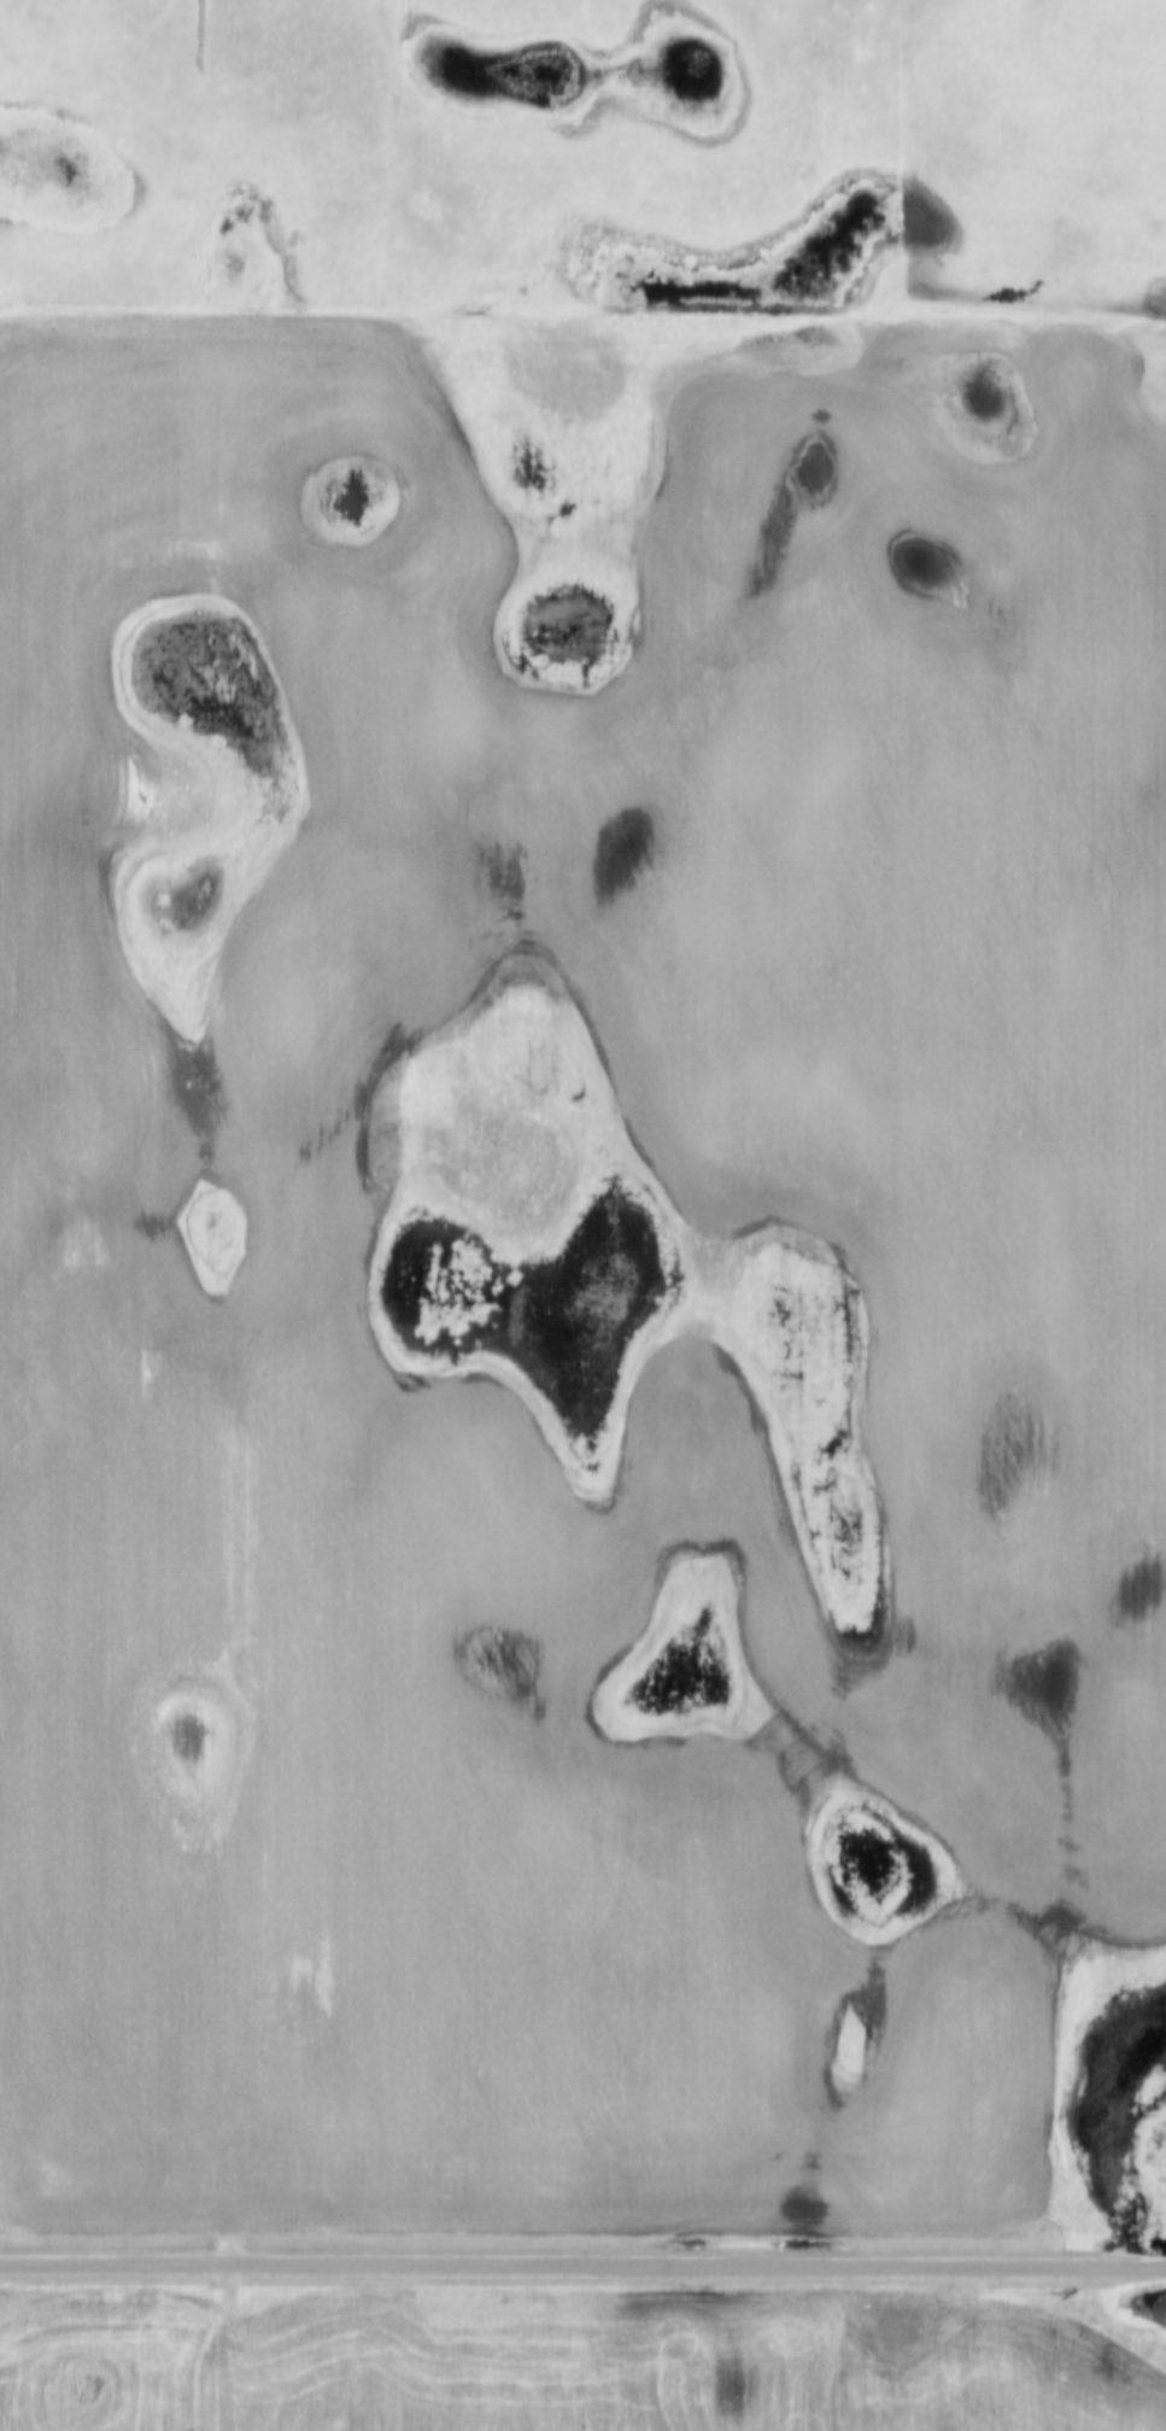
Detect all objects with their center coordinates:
road: (582, 2265)

